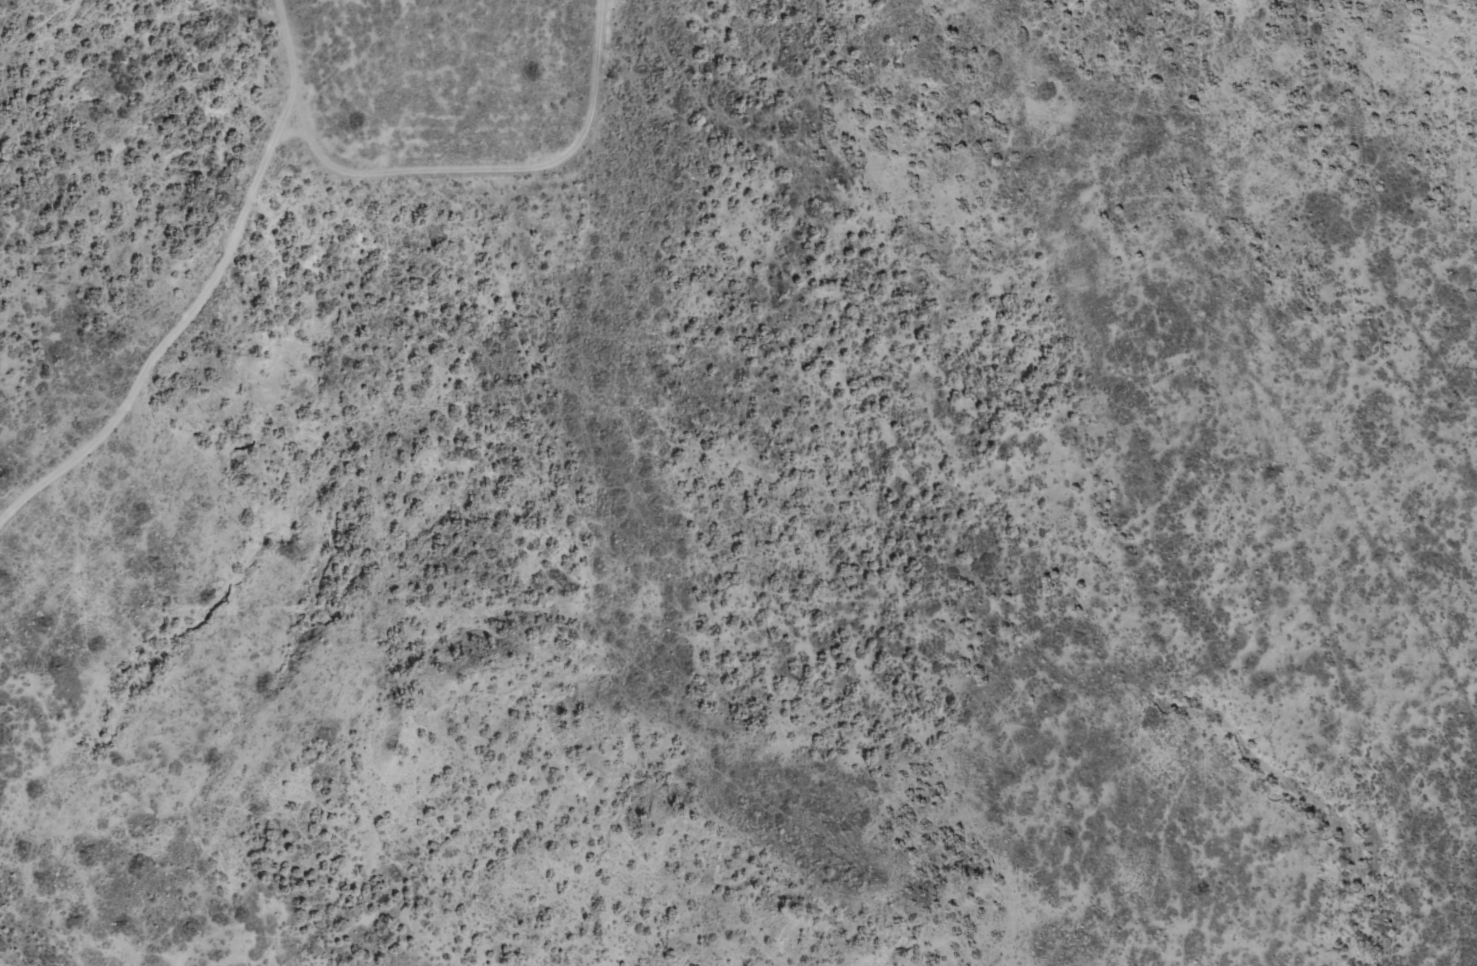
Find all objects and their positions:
road: (443, 163)

